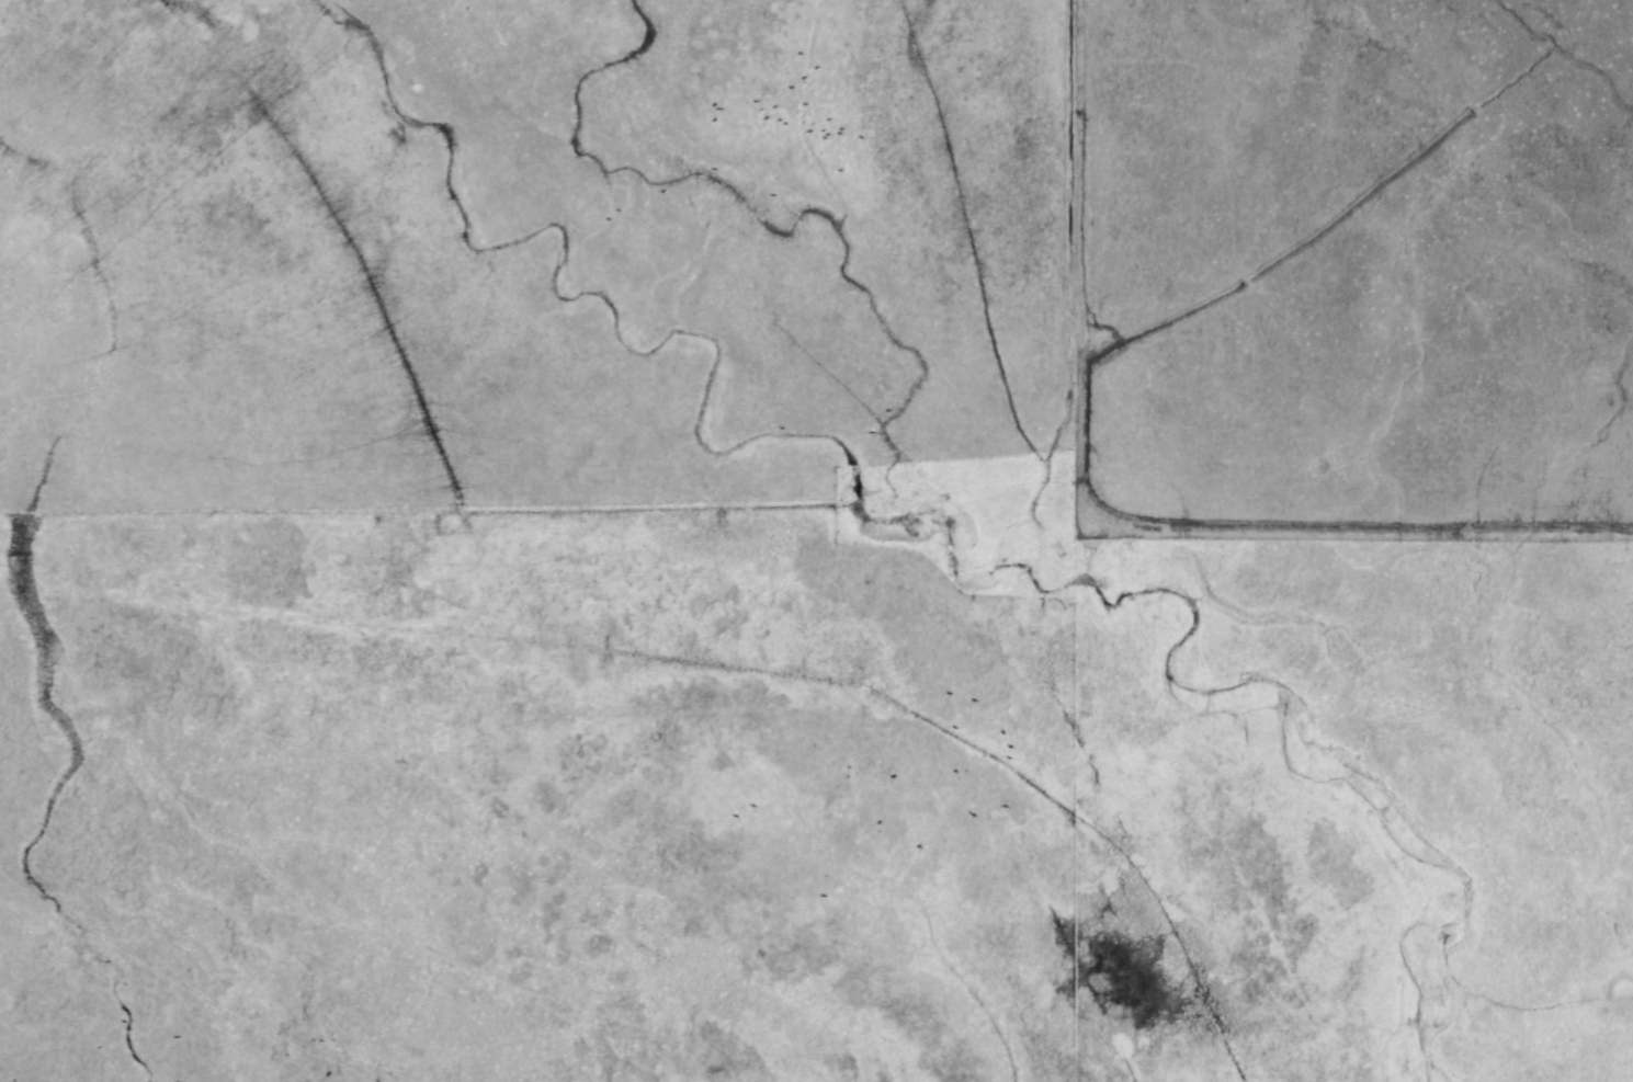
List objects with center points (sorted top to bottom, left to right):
crop: (816, 540)

